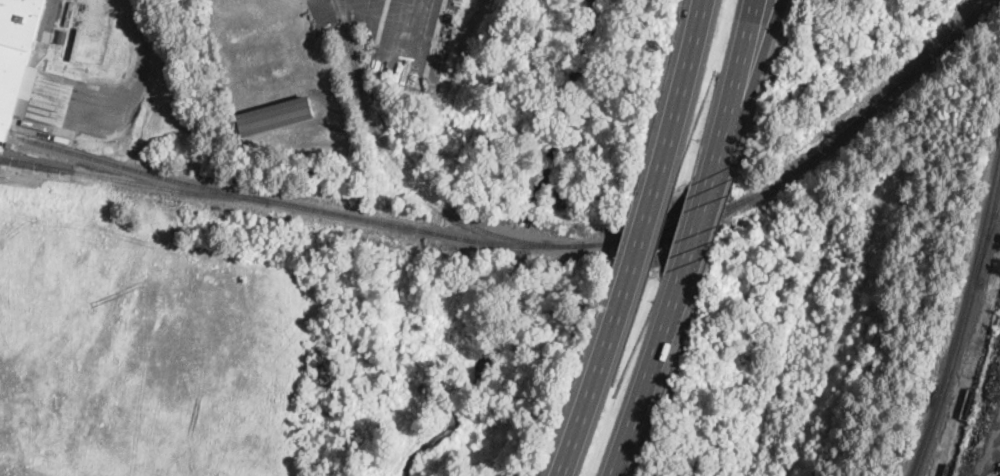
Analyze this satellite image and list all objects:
railway: (342, 33)
building: (62, 36)
building: (17, 57)
road: (739, 71)
road: (748, 71)
road: (141, 74)
road: (682, 88)
building: (275, 116)
railway: (4, 129)
building: (1, 149)
railway: (398, 161)
railway: (126, 164)
road: (702, 210)
road: (644, 230)
railway: (988, 239)
railway: (529, 243)
railway: (963, 324)
road: (649, 377)
road: (595, 380)
railway: (949, 453)

